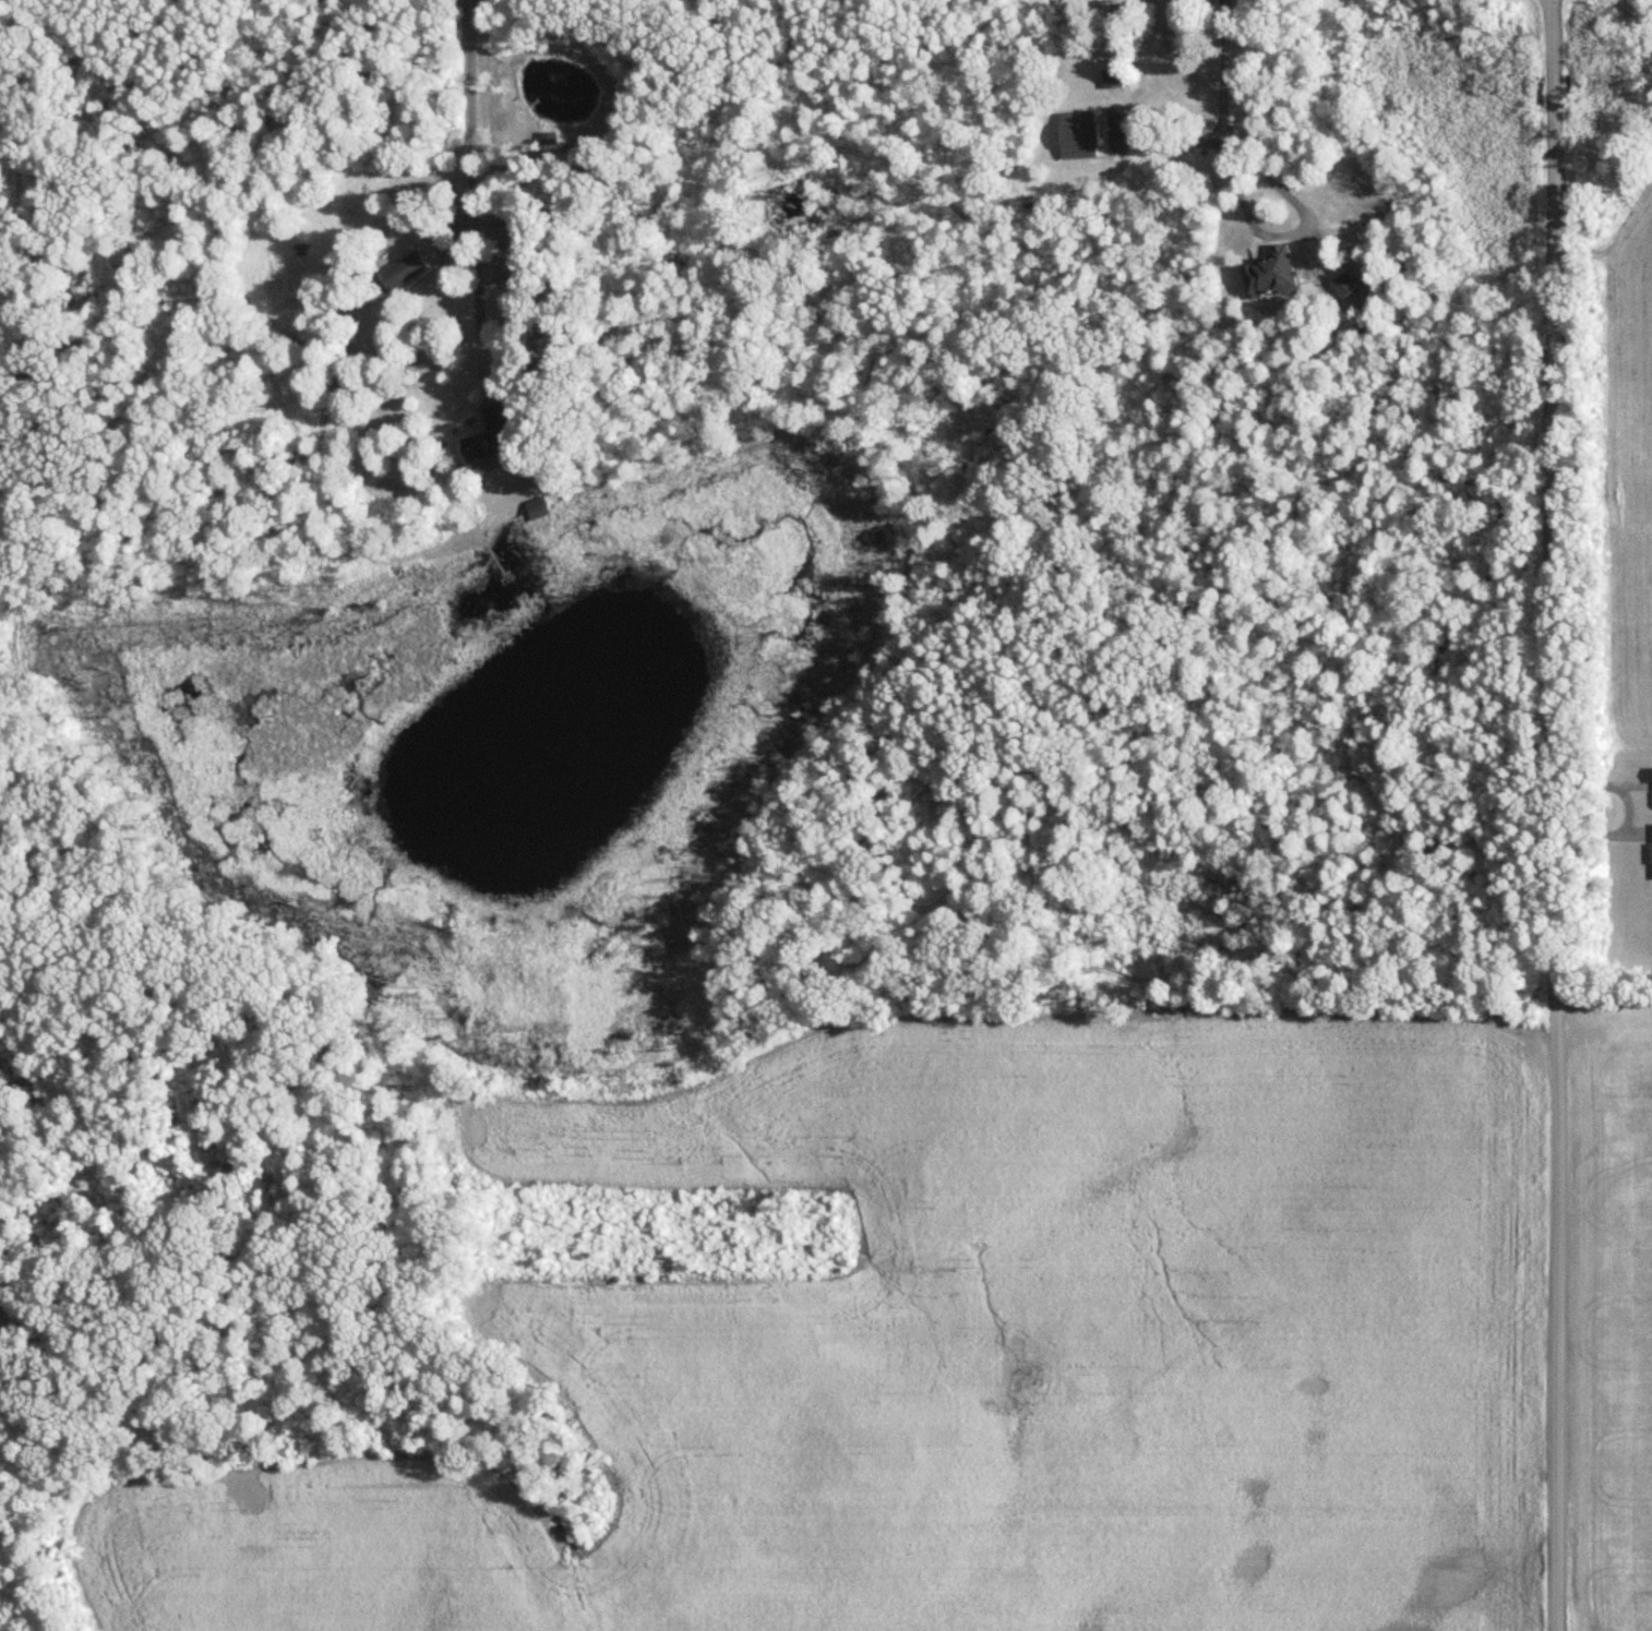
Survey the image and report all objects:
building: (1172, 68)
road: (1219, 70)
building: (1114, 80)
road: (468, 181)
road: (1291, 229)
building: (504, 253)
building: (403, 273)
building: (494, 436)
building: (539, 509)
road: (1555, 815)

